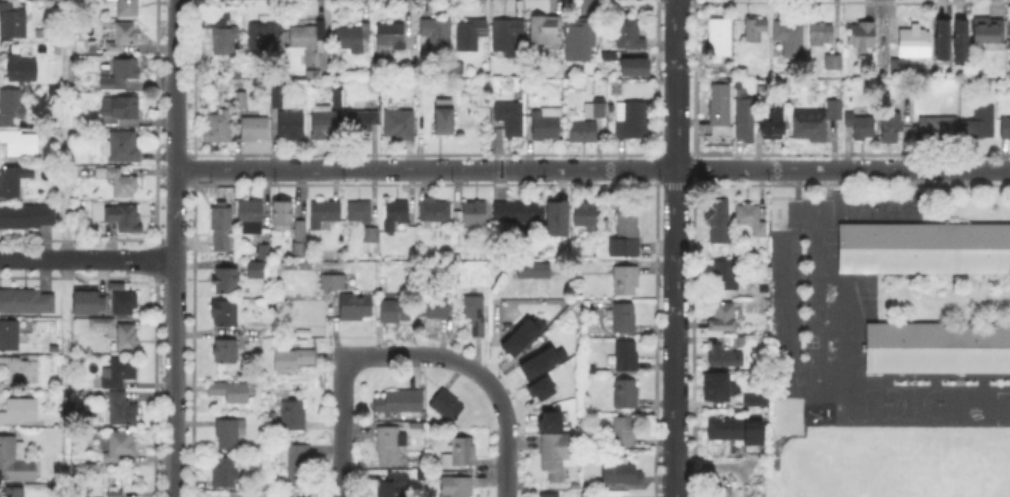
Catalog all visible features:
building: (130, 7)
building: (14, 19)
building: (987, 29)
building: (754, 30)
building: (394, 33)
building: (546, 33)
building: (1009, 33)
building: (126, 34)
building: (262, 35)
building: (436, 35)
building: (470, 35)
building: (628, 35)
building: (820, 35)
building: (224, 36)
building: (508, 36)
building: (790, 36)
building: (943, 36)
building: (961, 36)
building: (577, 37)
building: (719, 37)
building: (862, 37)
building: (307, 38)
building: (353, 38)
building: (915, 42)
building: (606, 55)
building: (834, 60)
building: (315, 61)
building: (895, 64)
building: (632, 65)
building: (23, 67)
building: (123, 73)
road: (176, 83)
building: (277, 98)
building: (338, 98)
building: (241, 101)
building: (13, 102)
building: (122, 108)
building: (720, 110)
building: (595, 111)
building: (444, 118)
building: (743, 118)
building: (509, 119)
building: (770, 121)
building: (631, 122)
building: (980, 122)
building: (324, 124)
building: (546, 124)
building: (818, 124)
building: (361, 125)
building: (220, 126)
building: (291, 126)
building: (399, 126)
building: (860, 127)
building: (938, 128)
building: (891, 129)
building: (1005, 129)
building: (254, 130)
building: (583, 133)
building: (21, 142)
building: (123, 145)
road: (592, 168)
building: (10, 184)
building: (119, 184)
building: (360, 210)
building: (103, 213)
road: (175, 213)
building: (435, 213)
building: (521, 213)
building: (585, 214)
building: (251, 215)
building: (471, 215)
building: (559, 215)
building: (324, 216)
building: (395, 216)
building: (282, 217)
building: (26, 218)
building: (127, 219)
building: (750, 220)
building: (718, 221)
building: (603, 222)
building: (221, 227)
building: (299, 231)
building: (624, 233)
building: (372, 236)
road: (66, 248)
road: (675, 248)
building: (924, 249)
building: (299, 251)
building: (263, 253)
road: (87, 259)
building: (534, 271)
building: (255, 272)
building: (725, 277)
building: (626, 281)
building: (225, 282)
building: (334, 282)
building: (114, 285)
building: (85, 299)
building: (26, 303)
building: (124, 304)
building: (355, 308)
building: (433, 308)
building: (396, 312)
building: (475, 313)
building: (224, 315)
building: (624, 319)
building: (723, 319)
building: (99, 321)
building: (103, 324)
building: (504, 325)
building: (517, 336)
building: (9, 337)
building: (126, 340)
building: (51, 347)
building: (937, 351)
building: (225, 353)
building: (723, 356)
building: (626, 357)
building: (293, 360)
building: (536, 361)
road: (473, 370)
building: (20, 372)
building: (119, 372)
road: (174, 378)
building: (715, 385)
building: (538, 387)
building: (230, 393)
building: (626, 394)
building: (747, 398)
building: (399, 403)
park: (901, 405)
building: (446, 406)
building: (591, 407)
building: (19, 412)
building: (120, 412)
building: (585, 418)
building: (293, 419)
building: (548, 420)
road: (342, 426)
building: (229, 434)
building: (620, 434)
building: (737, 436)
building: (390, 446)
building: (119, 447)
building: (460, 455)
building: (557, 456)
building: (14, 464)
building: (296, 464)
road: (713, 472)
building: (225, 474)
building: (622, 474)
park: (917, 481)
building: (395, 485)
building: (573, 485)
building: (457, 487)
building: (12, 491)
building: (114, 494)
building: (582, 494)
building: (550, 495)

